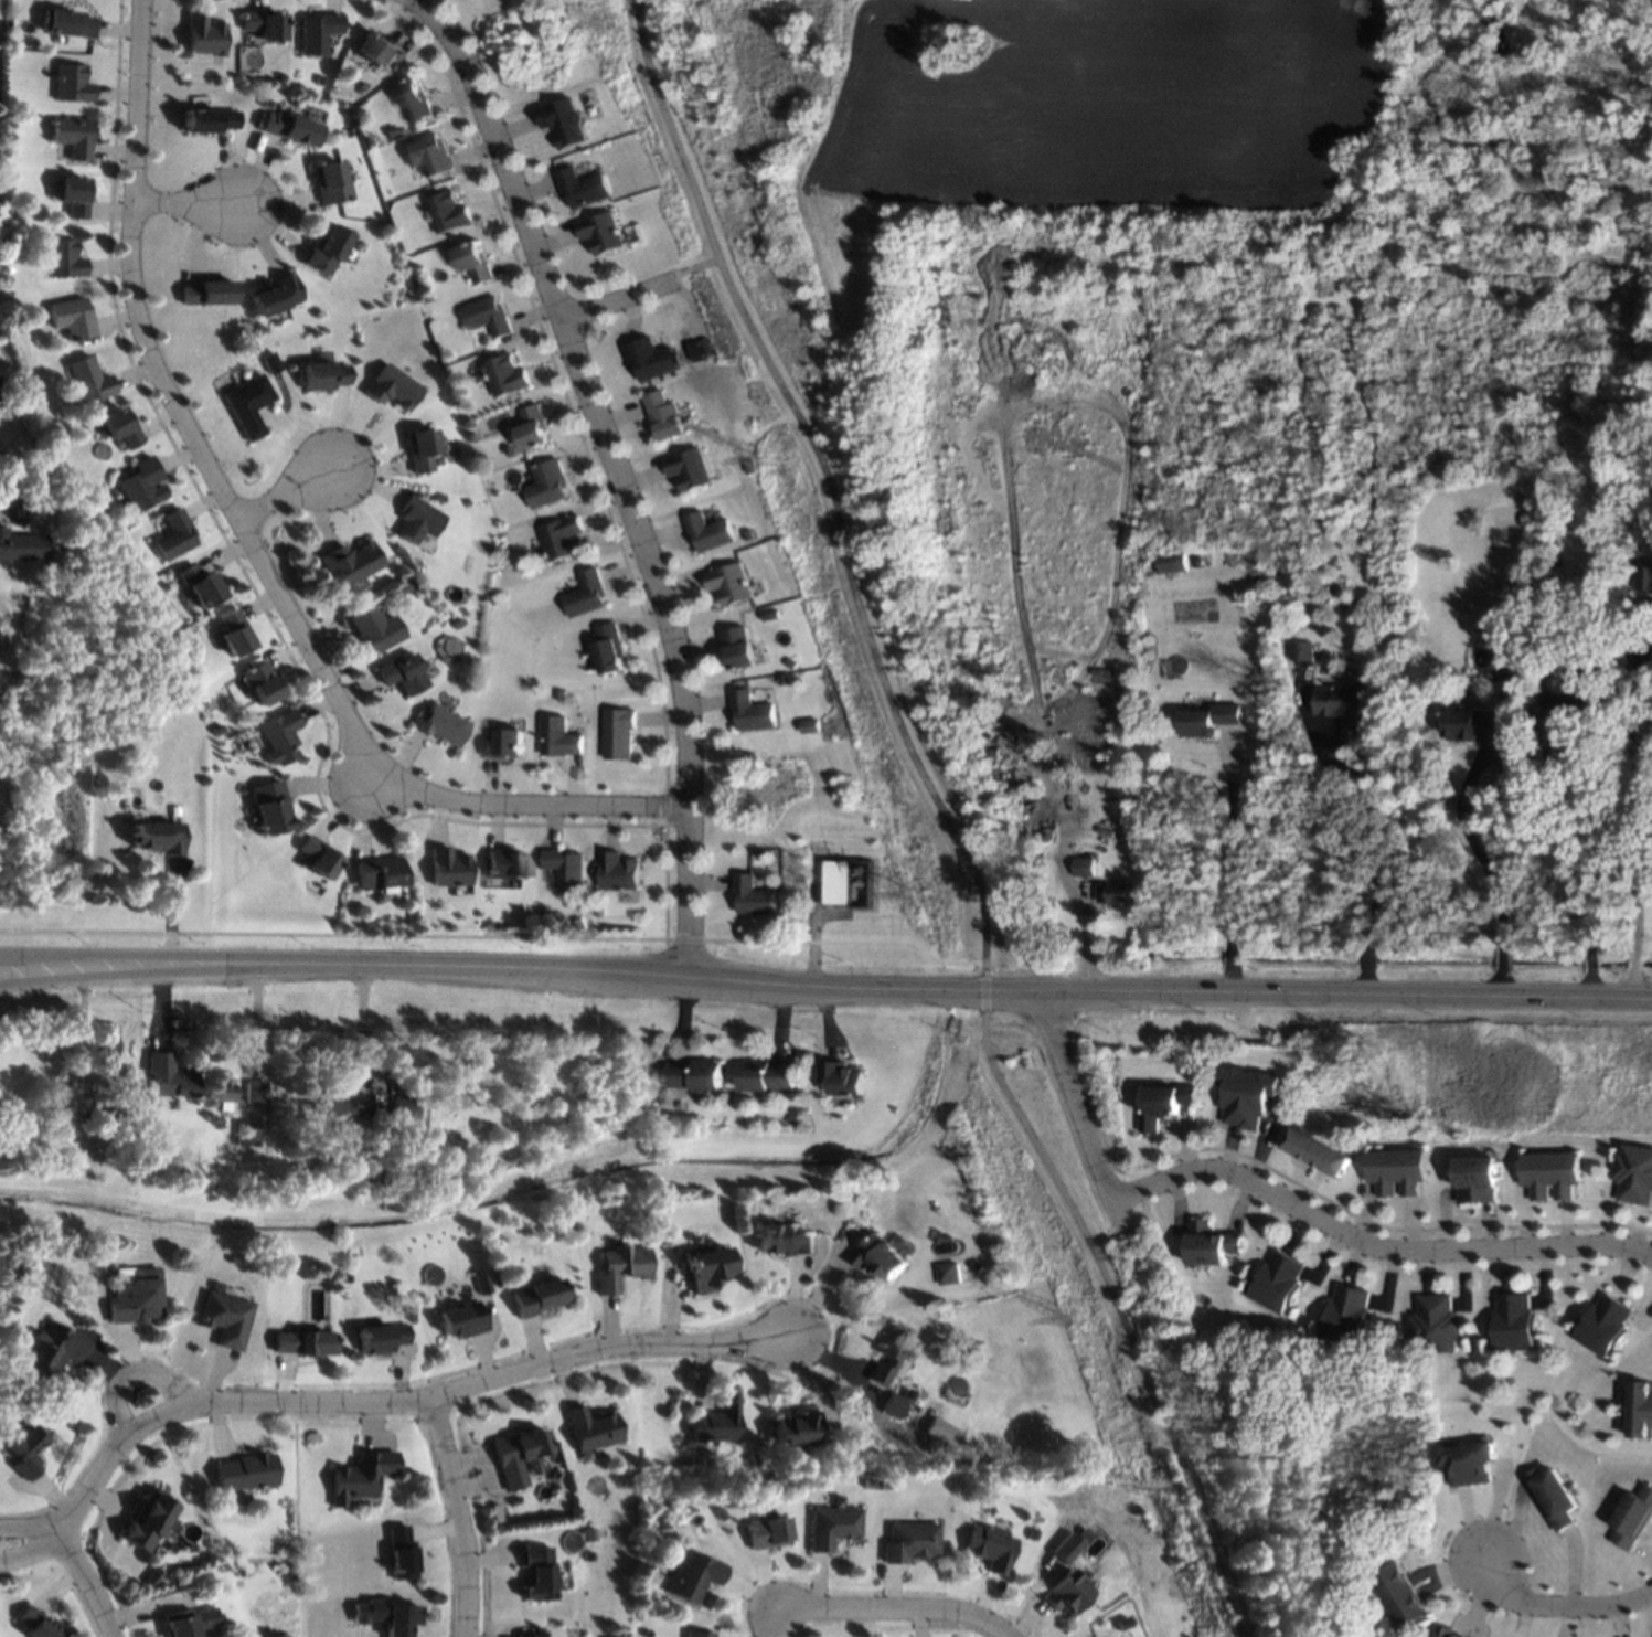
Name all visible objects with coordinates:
building: (65, 23)
building: (260, 23)
building: (316, 31)
building: (202, 35)
building: (373, 47)
building: (71, 84)
building: (359, 85)
building: (412, 100)
building: (265, 104)
building: (204, 120)
building: (564, 121)
building: (286, 128)
crop: (1043, 129)
building: (73, 137)
building: (428, 155)
building: (329, 183)
building: (583, 188)
building: (74, 196)
road: (191, 202)
building: (446, 212)
building: (18, 213)
building: (603, 232)
building: (326, 249)
building: (65, 259)
building: (472, 263)
road: (692, 266)
building: (209, 293)
building: (274, 295)
road: (616, 297)
building: (487, 317)
building: (74, 318)
building: (3, 334)
building: (649, 359)
building: (270, 362)
building: (322, 375)
building: (504, 376)
building: (475, 378)
building: (89, 381)
building: (391, 387)
building: (248, 404)
road: (185, 411)
building: (662, 416)
building: (531, 427)
building: (120, 428)
building: (418, 449)
building: (510, 451)
building: (750, 467)
building: (688, 469)
road: (618, 476)
road: (830, 479)
building: (545, 483)
road: (292, 486)
building: (140, 487)
park: (827, 488)
building: (415, 520)
building: (707, 531)
building: (746, 533)
building: (1646, 533)
building: (174, 535)
building: (561, 539)
building: (71, 543)
building: (22, 546)
building: (349, 562)
building: (1172, 562)
building: (1643, 577)
building: (729, 583)
building: (201, 585)
building: (162, 586)
building: (402, 587)
building: (587, 594)
building: (1541, 596)
building: (771, 616)
building: (456, 623)
building: (374, 628)
building: (234, 633)
building: (739, 647)
building: (610, 649)
building: (1302, 651)
building: (1642, 653)
building: (791, 663)
building: (401, 673)
building: (259, 683)
building: (1510, 683)
building: (561, 693)
building: (1567, 699)
building: (1342, 705)
building: (753, 711)
building: (1207, 720)
building: (1474, 723)
building: (439, 724)
building: (216, 731)
building: (620, 733)
building: (279, 737)
building: (559, 737)
building: (504, 743)
building: (1599, 759)
building: (1016, 789)
road: (536, 805)
building: (269, 806)
building: (174, 810)
road: (1459, 815)
road: (1634, 828)
road: (1373, 836)
building: (159, 837)
building: (1043, 837)
road: (1225, 852)
building: (759, 855)
building: (318, 858)
road: (1567, 858)
building: (504, 863)
building: (1079, 865)
building: (447, 868)
building: (566, 868)
building: (377, 872)
building: (618, 872)
building: (838, 882)
building: (1110, 893)
building: (755, 896)
building: (600, 912)
building: (580, 924)
building: (487, 926)
building: (493, 926)
road: (331, 933)
road: (681, 938)
road: (843, 940)
road: (1365, 959)
road: (1225, 960)
road: (1500, 963)
road: (1632, 964)
road: (110, 965)
road: (1589, 966)
road: (110, 974)
road: (1364, 982)
road: (1225, 984)
road: (1500, 986)
road: (1632, 986)
road: (1589, 987)
road: (936, 992)
road: (980, 992)
road: (365, 1022)
building: (102, 1044)
building: (1195, 1064)
building: (167, 1075)
building: (693, 1075)
building: (766, 1075)
building: (841, 1076)
building: (220, 1091)
building: (253, 1091)
building: (1246, 1095)
building: (335, 1101)
building: (1164, 1103)
building: (398, 1104)
building: (81, 1105)
road: (1078, 1106)
building: (111, 1117)
building: (243, 1131)
building: (331, 1150)
building: (1318, 1151)
building: (377, 1170)
building: (1397, 1170)
building: (1550, 1173)
building: (1633, 1173)
building: (1477, 1178)
building: (782, 1239)
building: (1208, 1243)
road: (1372, 1243)
building: (880, 1256)
building: (621, 1266)
building: (976, 1266)
building: (706, 1268)
building: (12, 1273)
building: (949, 1273)
building: (495, 1278)
building: (481, 1282)
building: (1276, 1282)
park: (1118, 1290)
building: (136, 1296)
building: (539, 1296)
road: (1118, 1308)
building: (1345, 1316)
building: (223, 1318)
building: (461, 1319)
building: (1513, 1322)
building: (323, 1324)
building: (1435, 1325)
building: (1602, 1325)
building: (380, 1337)
building: (302, 1341)
building: (54, 1349)
building: (887, 1352)
road: (129, 1372)
building: (906, 1393)
road: (403, 1403)
building: (891, 1405)
building: (1641, 1409)
building: (716, 1420)
building: (591, 1427)
building: (795, 1427)
building: (941, 1432)
building: (23, 1449)
building: (516, 1455)
building: (1470, 1461)
building: (243, 1470)
building: (359, 1475)
building: (866, 1481)
building: (884, 1481)
building: (1555, 1496)
building: (716, 1512)
road: (461, 1518)
building: (692, 1518)
building: (1633, 1518)
building: (145, 1522)
road: (31, 1526)
building: (830, 1526)
building: (764, 1532)
building: (588, 1533)
building: (908, 1541)
road: (32, 1545)
building: (989, 1546)
building: (1066, 1546)
building: (398, 1553)
building: (1172, 1559)
building: (537, 1573)
building: (692, 1575)
road: (88, 1581)
building: (1066, 1592)
building: (1399, 1595)
road: (1560, 1605)
road: (896, 1606)
building: (366, 1611)
building: (399, 1619)
road: (772, 1620)
building: (185, 1622)
building: (1123, 1623)
building: (34, 1624)
road: (1237, 1627)
building: (1448, 1631)
building: (647, 1633)
building: (697, 1634)
building: (524, 1635)

